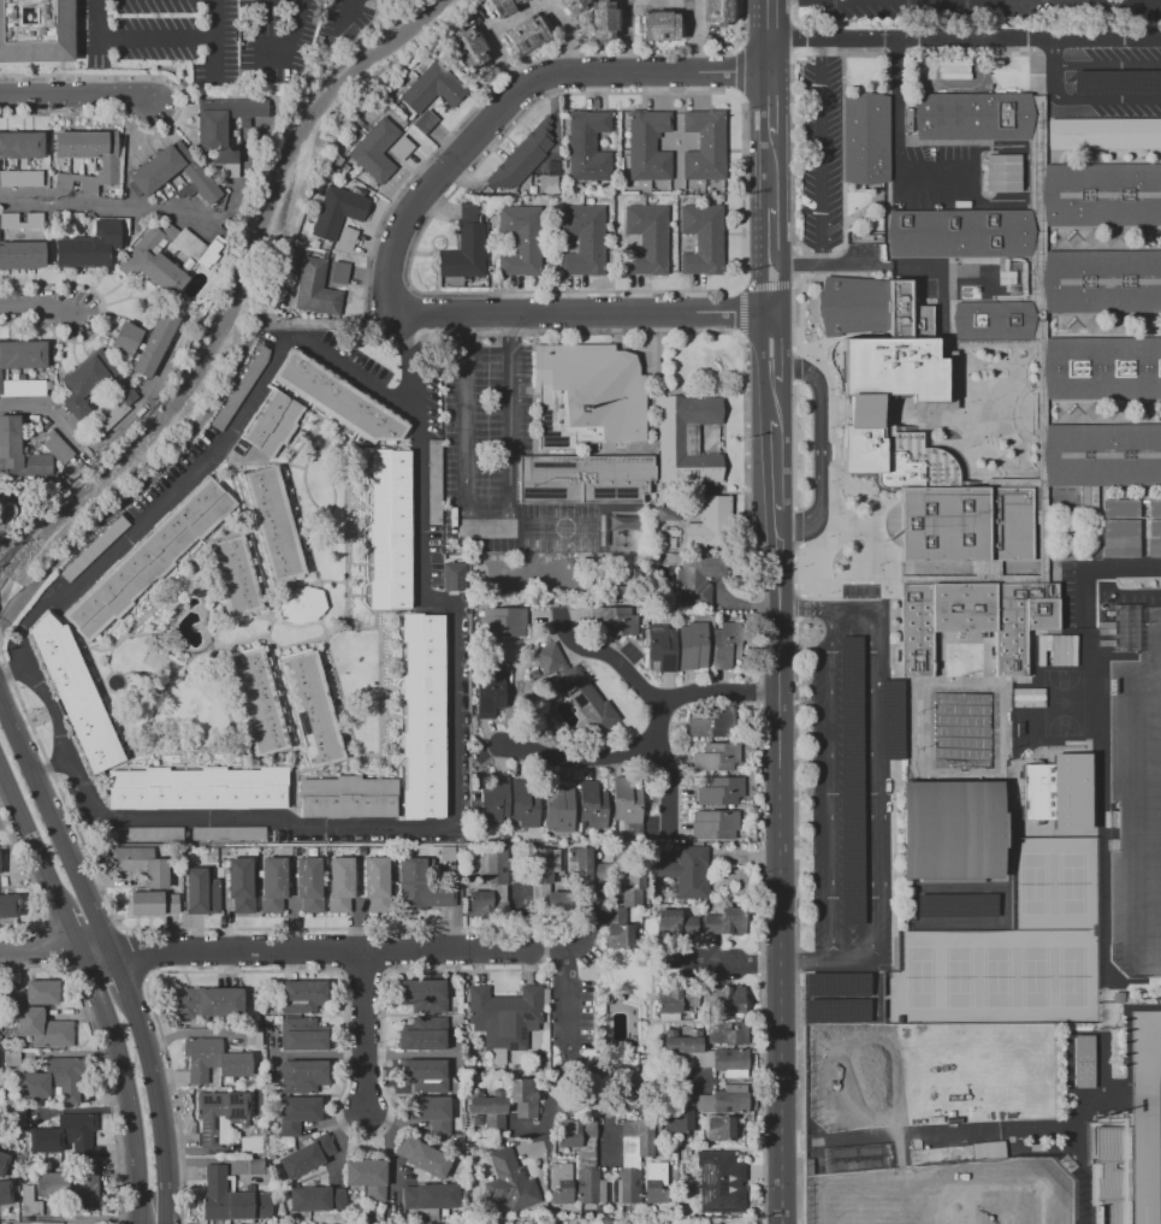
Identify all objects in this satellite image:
building: (522, 0)
building: (516, 1)
building: (573, 5)
building: (500, 6)
road: (349, 8)
road: (523, 10)
building: (721, 12)
road: (769, 18)
building: (603, 22)
building: (659, 25)
road: (693, 29)
building: (37, 31)
road: (623, 32)
building: (526, 34)
road: (824, 36)
road: (1020, 36)
road: (154, 39)
road: (289, 43)
building: (468, 48)
road: (1053, 51)
road: (769, 54)
road: (214, 59)
road: (1107, 65)
parking lot: (1106, 76)
building: (1115, 81)
building: (432, 88)
road: (513, 95)
road: (77, 97)
road: (1089, 101)
road: (769, 110)
building: (359, 122)
building: (425, 122)
building: (224, 129)
building: (235, 132)
building: (1103, 134)
building: (865, 137)
road: (896, 141)
building: (20, 144)
building: (647, 144)
building: (704, 144)
building: (587, 146)
building: (401, 148)
road: (822, 148)
building: (374, 150)
parking lot: (822, 150)
building: (241, 152)
building: (87, 156)
building: (521, 156)
building: (338, 160)
building: (563, 165)
building: (344, 168)
building: (153, 172)
building: (1002, 172)
building: (332, 176)
building: (549, 177)
building: (349, 179)
road: (769, 179)
building: (8, 182)
building: (577, 185)
road: (155, 211)
building: (338, 211)
building: (8, 217)
road: (769, 236)
building: (345, 237)
building: (698, 237)
building: (646, 238)
building: (520, 240)
building: (584, 240)
building: (90, 244)
building: (196, 247)
building: (464, 253)
building: (22, 255)
road: (885, 262)
building: (152, 264)
building: (339, 273)
building: (1011, 278)
road: (782, 284)
building: (313, 289)
road: (37, 307)
road: (587, 315)
road: (759, 323)
building: (126, 338)
building: (154, 344)
road: (781, 351)
building: (24, 354)
road: (410, 365)
building: (1098, 366)
building: (93, 383)
building: (22, 386)
building: (237, 392)
building: (587, 395)
building: (338, 398)
road: (772, 402)
building: (272, 424)
building: (671, 434)
road: (94, 447)
building: (57, 448)
road: (819, 449)
building: (18, 451)
road: (775, 467)
building: (587, 480)
building: (433, 483)
building: (1120, 508)
building: (1154, 508)
road: (484, 521)
building: (711, 522)
building: (273, 525)
building: (390, 530)
building: (1120, 538)
building: (1154, 539)
building: (94, 549)
building: (149, 557)
road: (1090, 564)
building: (235, 575)
building: (452, 575)
building: (695, 579)
building: (621, 589)
parking lot: (1071, 593)
road: (1121, 593)
building: (304, 608)
road: (452, 610)
building: (503, 621)
building: (620, 622)
building: (728, 643)
building: (691, 646)
building: (662, 648)
park: (1153, 650)
building: (549, 658)
road: (17, 672)
building: (491, 688)
building: (75, 693)
road: (652, 699)
building: (257, 702)
park: (1062, 702)
building: (587, 703)
building: (312, 709)
building: (427, 717)
building: (890, 719)
building: (715, 722)
road: (647, 737)
road: (871, 738)
building: (716, 757)
road: (53, 765)
road: (883, 768)
parking lot: (840, 779)
building: (851, 780)
road: (830, 785)
building: (197, 788)
road: (59, 790)
building: (719, 791)
building: (1058, 791)
building: (346, 797)
building: (493, 800)
building: (629, 802)
building: (523, 804)
building: (592, 805)
building: (559, 808)
building: (713, 824)
road: (57, 828)
building: (950, 830)
park: (1145, 830)
building: (229, 833)
building: (147, 834)
road: (32, 836)
building: (513, 850)
building: (446, 852)
building: (493, 864)
building: (546, 864)
building: (141, 865)
building: (594, 867)
road: (783, 869)
road: (24, 870)
building: (686, 871)
building: (634, 881)
park: (1073, 882)
building: (239, 883)
park: (1035, 883)
building: (309, 885)
building: (340, 885)
building: (377, 885)
building: (273, 886)
building: (421, 886)
building: (201, 891)
building: (153, 903)
building: (479, 904)
building: (559, 904)
building: (8, 905)
building: (956, 905)
building: (725, 921)
building: (675, 923)
building: (617, 928)
road: (123, 929)
road: (73, 930)
road: (584, 933)
road: (1104, 935)
road: (60, 946)
park: (1011, 948)
road: (320, 950)
road: (41, 951)
road: (97, 951)
road: (128, 959)
road: (745, 963)
road: (829, 963)
road: (119, 971)
park: (1035, 976)
park: (1073, 976)
park: (920, 977)
park: (959, 977)
park: (996, 977)
building: (836, 983)
building: (41, 992)
building: (422, 994)
building: (13, 995)
building: (303, 995)
building: (546, 997)
building: (725, 1000)
building: (208, 1001)
building: (677, 1001)
building: (836, 1010)
building: (267, 1011)
building: (504, 1018)
road: (565, 1019)
building: (42, 1028)
building: (267, 1029)
road: (360, 1031)
building: (727, 1031)
building: (423, 1034)
building: (303, 1035)
building: (254, 1037)
road: (1129, 1040)
building: (687, 1042)
building: (212, 1059)
building: (733, 1062)
building: (1084, 1062)
building: (425, 1074)
park: (929, 1074)
building: (303, 1076)
building: (52, 1080)
building: (241, 1081)
road: (658, 1083)
road: (126, 1084)
road: (106, 1094)
building: (520, 1099)
building: (730, 1099)
road: (174, 1100)
road: (160, 1106)
building: (487, 1107)
building: (431, 1112)
building: (296, 1113)
road: (550, 1113)
building: (219, 1116)
road: (1147, 1118)
track: (1147, 1118)
building: (476, 1119)
building: (677, 1120)
road: (611, 1122)
building: (717, 1128)
building: (575, 1131)
road: (931, 1131)
building: (641, 1134)
building: (65, 1136)
building: (254, 1142)
building: (991, 1152)
building: (307, 1155)
building: (422, 1155)
building: (859, 1159)
building: (4, 1163)
building: (255, 1166)
building: (1110, 1169)
building: (367, 1177)
building: (508, 1181)
building: (561, 1182)
building: (654, 1182)
building: (721, 1182)
building: (590, 1185)
building: (626, 1185)
building: (72, 1187)
building: (7, 1194)
park: (947, 1194)
building: (430, 1195)
building: (315, 1198)
building: (231, 1199)
building: (29, 1202)
building: (612, 1222)
building: (664, 1222)
building: (716, 1223)
building: (739, 1223)

